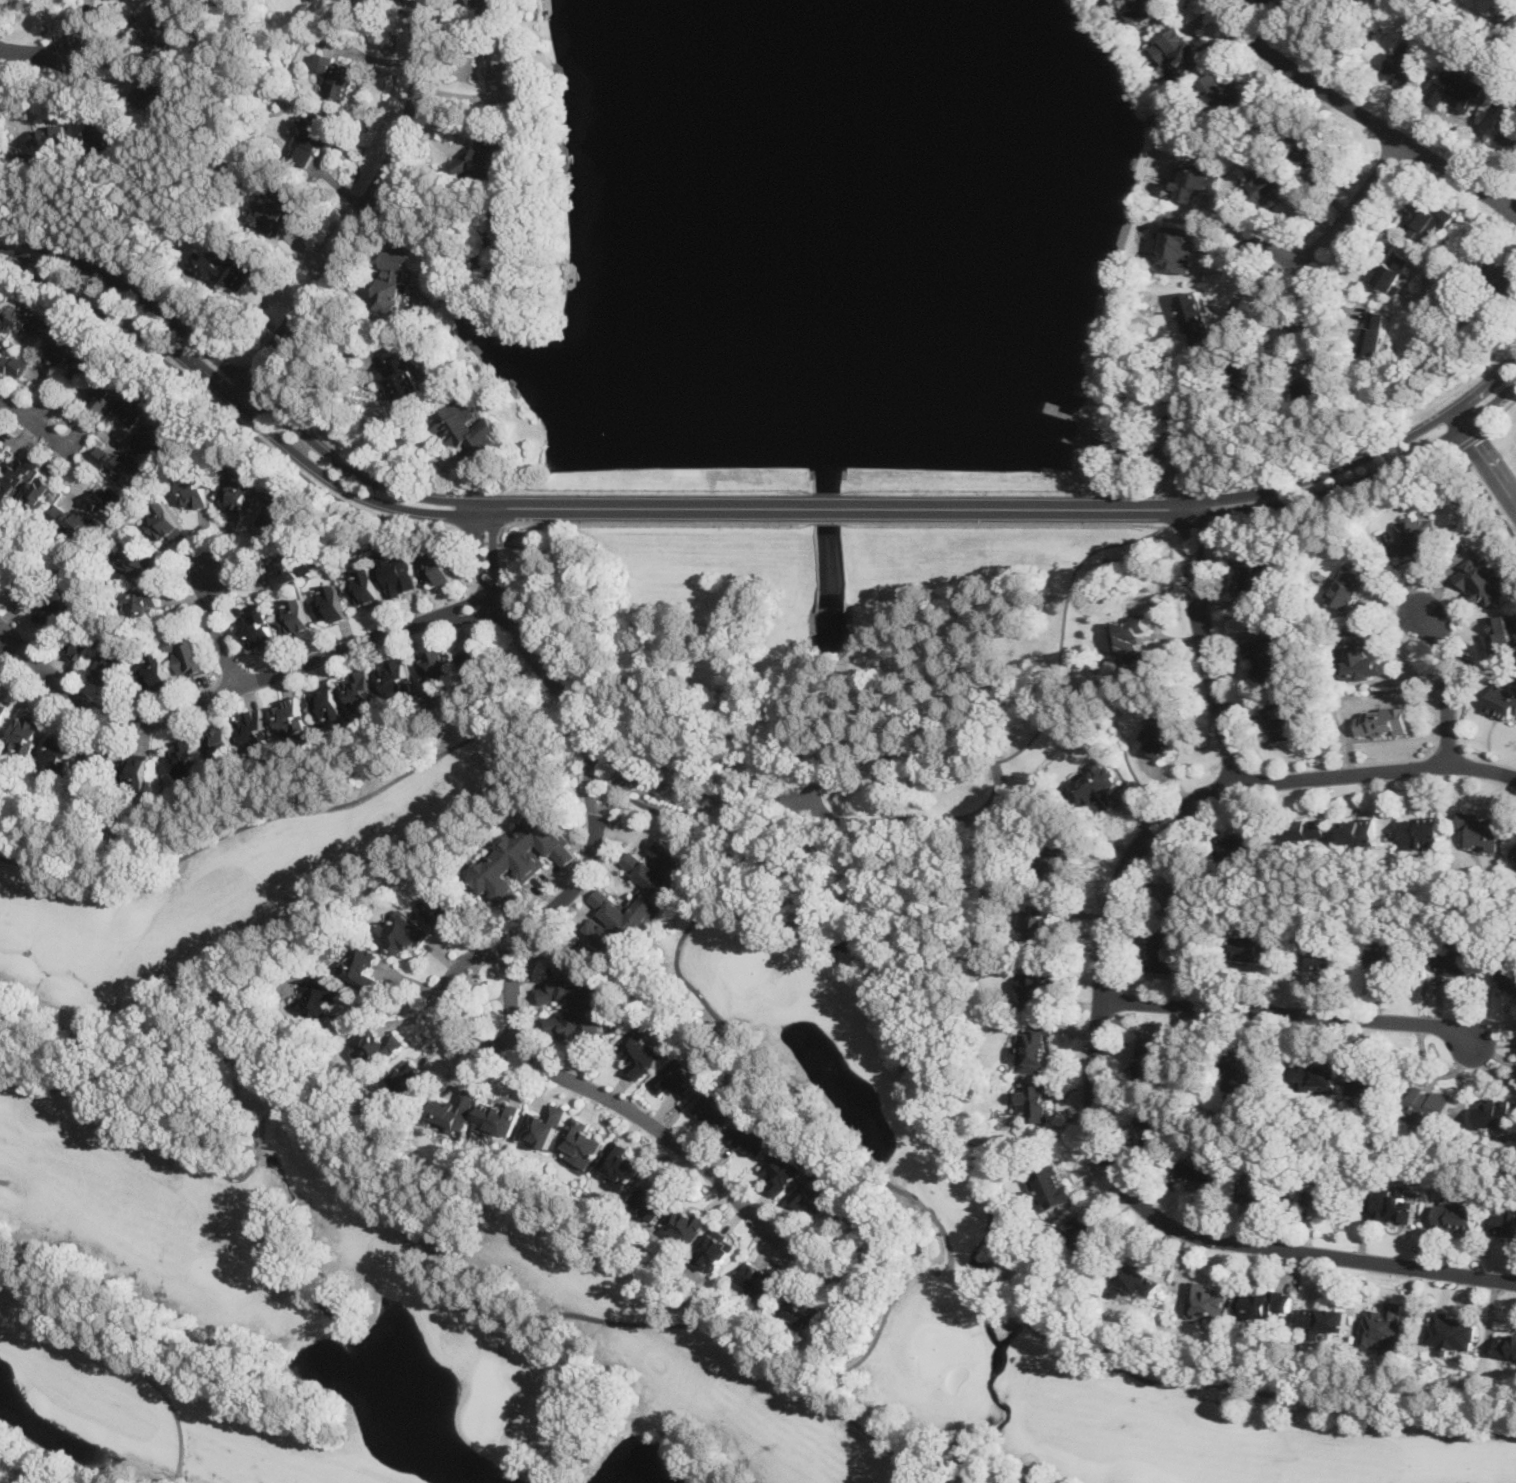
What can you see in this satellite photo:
building: (1280, 1)
building: (490, 8)
building: (1142, 9)
road: (1476, 20)
road: (328, 21)
building: (161, 27)
road: (1355, 34)
building: (1181, 50)
road: (36, 56)
building: (1402, 68)
building: (505, 72)
building: (336, 73)
building: (1457, 87)
building: (151, 89)
building: (1225, 94)
road: (1361, 112)
building: (1505, 122)
building: (106, 130)
building: (50, 136)
building: (312, 137)
building: (1309, 146)
road: (213, 148)
building: (485, 159)
road: (432, 175)
building: (1198, 182)
building: (1270, 184)
building: (275, 210)
road: (360, 210)
building: (1427, 219)
building: (510, 234)
road: (1263, 243)
building: (1181, 247)
building: (227, 267)
building: (1392, 270)
building: (1505, 278)
building: (395, 282)
building: (1197, 318)
building: (21, 320)
building: (1374, 332)
building: (56, 346)
building: (84, 360)
building: (12, 364)
road: (239, 374)
building: (405, 378)
building: (1253, 378)
building: (1318, 387)
building: (105, 389)
road: (235, 397)
road: (1113, 401)
building: (133, 404)
road: (348, 406)
road: (15, 410)
road: (1500, 411)
road: (232, 422)
road: (83, 425)
building: (465, 427)
road: (1170, 435)
road: (1472, 436)
building: (155, 438)
building: (1, 450)
road: (1488, 455)
building: (119, 463)
building: (16, 472)
building: (193, 489)
building: (237, 491)
road: (1487, 491)
building: (36, 492)
road: (1196, 495)
building: (106, 501)
road: (1331, 503)
road: (1198, 506)
road: (646, 508)
road: (829, 508)
building: (275, 515)
road: (830, 520)
building: (76, 522)
road: (649, 522)
road: (1007, 522)
building: (164, 523)
building: (1416, 534)
building: (6, 556)
building: (136, 560)
building: (292, 564)
building: (437, 567)
building: (399, 575)
building: (1255, 575)
building: (1483, 578)
building: (1348, 585)
building: (365, 586)
building: (29, 591)
building: (142, 601)
building: (330, 604)
building: (54, 611)
building: (295, 618)
road: (214, 624)
building: (259, 629)
building: (1502, 635)
road: (5, 642)
building: (1131, 642)
building: (84, 646)
road: (1206, 646)
building: (1361, 654)
building: (187, 656)
building: (1270, 658)
building: (473, 662)
building: (113, 669)
building: (434, 671)
building: (158, 672)
building: (397, 680)
road: (1447, 681)
road: (233, 688)
building: (361, 691)
building: (1502, 702)
building: (326, 704)
building: (3, 713)
building: (291, 718)
building: (1286, 720)
building: (1383, 721)
building: (1161, 731)
building: (256, 732)
building: (26, 734)
building: (220, 744)
building: (60, 750)
building: (187, 762)
road: (850, 763)
building: (94, 766)
building: (135, 768)
road: (1377, 770)
building: (1095, 786)
road: (682, 790)
building: (1305, 830)
building: (1482, 830)
building: (1359, 831)
building: (1422, 832)
building: (1241, 844)
building: (1056, 856)
building: (1514, 856)
building: (527, 862)
building: (656, 876)
building: (1182, 893)
road: (1326, 893)
building: (441, 907)
building: (1041, 919)
building: (609, 929)
building: (401, 931)
building: (1257, 947)
building: (1325, 947)
building: (1164, 949)
building: (1391, 956)
building: (1455, 959)
building: (360, 965)
building: (1507, 976)
building: (1038, 984)
building: (321, 997)
building: (577, 1001)
road: (447, 1002)
road: (396, 1008)
road: (1290, 1011)
building: (375, 1046)
building: (1034, 1046)
building: (641, 1048)
building: (1152, 1060)
building: (1242, 1065)
building: (411, 1076)
building: (679, 1076)
building: (1317, 1076)
building: (1369, 1089)
building: (1034, 1103)
building: (1428, 1103)
building: (717, 1107)
building: (455, 1108)
road: (627, 1109)
road: (1264, 1109)
building: (1495, 1111)
building: (496, 1119)
building: (543, 1124)
building: (1155, 1128)
building: (752, 1133)
building: (582, 1141)
road: (1107, 1159)
building: (621, 1163)
building: (782, 1169)
building: (1203, 1173)
building: (1053, 1185)
building: (814, 1191)
building: (1260, 1194)
building: (1326, 1195)
building: (654, 1197)
building: (1393, 1202)
building: (1457, 1215)
park: (513, 1221)
building: (1504, 1222)
building: (685, 1224)
building: (1085, 1236)
building: (715, 1250)
building: (760, 1279)
building: (1137, 1279)
building: (1205, 1300)
building: (1261, 1304)
building: (804, 1308)
building: (1323, 1319)
building: (1382, 1325)
building: (1450, 1331)
building: (1506, 1345)

